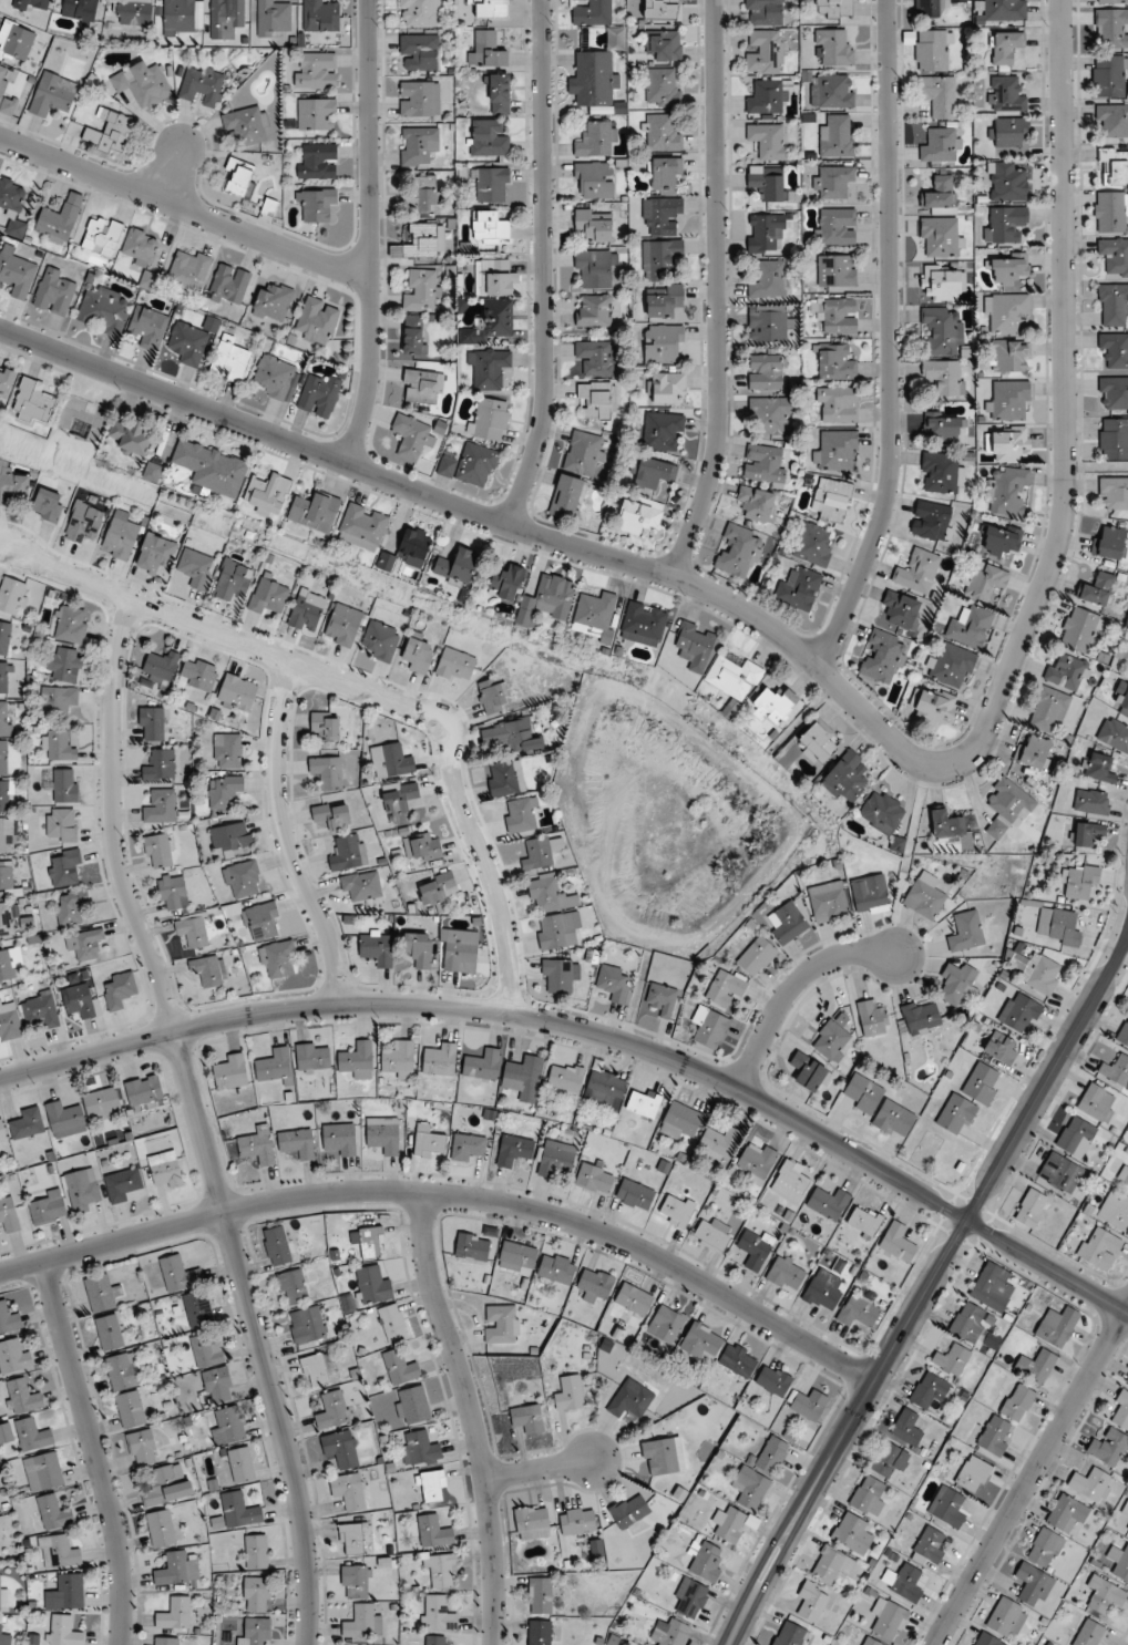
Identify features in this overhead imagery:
building: (1111, 1)
building: (33, 4)
building: (490, 8)
building: (834, 8)
building: (932, 8)
building: (80, 9)
building: (662, 9)
building: (1002, 10)
building: (134, 12)
building: (419, 12)
building: (592, 12)
building: (765, 12)
building: (227, 14)
building: (180, 16)
building: (320, 17)
building: (274, 18)
building: (1111, 28)
building: (16, 41)
building: (663, 44)
building: (833, 48)
building: (485, 49)
building: (1004, 49)
building: (933, 50)
building: (419, 51)
building: (765, 51)
building: (316, 70)
building: (1109, 75)
building: (2, 81)
building: (143, 83)
building: (596, 83)
building: (202, 85)
building: (663, 86)
building: (832, 90)
building: (500, 93)
building: (1006, 93)
building: (53, 94)
building: (939, 94)
building: (766, 96)
building: (419, 97)
building: (316, 113)
building: (1111, 121)
building: (247, 124)
building: (110, 132)
building: (1009, 132)
building: (662, 133)
building: (835, 135)
building: (489, 136)
building: (597, 138)
building: (769, 140)
building: (418, 145)
building: (942, 145)
building: (317, 161)
building: (1116, 165)
building: (665, 175)
building: (239, 176)
building: (594, 178)
building: (833, 181)
building: (1006, 182)
building: (767, 183)
building: (491, 184)
building: (941, 194)
building: (422, 195)
building: (317, 204)
building: (13, 206)
road: (184, 208)
building: (662, 216)
building: (61, 219)
building: (1004, 223)
building: (594, 224)
building: (837, 226)
building: (490, 227)
building: (765, 232)
road: (371, 233)
building: (0, 235)
building: (102, 235)
building: (941, 236)
building: (422, 241)
building: (142, 254)
building: (660, 257)
road: (546, 265)
building: (596, 267)
building: (1009, 267)
building: (188, 269)
building: (837, 270)
building: (17, 274)
building: (493, 276)
building: (771, 279)
building: (943, 282)
building: (228, 286)
building: (422, 289)
road: (719, 290)
building: (54, 291)
building: (664, 300)
building: (274, 302)
building: (1112, 304)
building: (593, 309)
building: (103, 311)
building: (1005, 311)
building: (838, 315)
building: (317, 320)
building: (769, 322)
building: (490, 323)
building: (148, 327)
building: (941, 332)
building: (414, 335)
road: (891, 339)
building: (663, 342)
building: (187, 343)
building: (1115, 350)
building: (1011, 356)
building: (596, 357)
building: (230, 360)
building: (835, 362)
building: (488, 366)
building: (766, 371)
building: (273, 376)
building: (944, 377)
building: (6, 382)
building: (423, 385)
building: (668, 388)
building: (1115, 393)
building: (319, 395)
building: (598, 399)
building: (33, 401)
building: (1008, 401)
building: (838, 403)
building: (771, 414)
building: (490, 419)
building: (943, 426)
building: (663, 431)
building: (414, 435)
building: (131, 438)
building: (1114, 439)
building: (1008, 443)
building: (837, 451)
building: (584, 453)
building: (765, 463)
building: (471, 465)
building: (212, 466)
building: (153, 471)
building: (941, 472)
building: (654, 473)
building: (12, 482)
building: (1007, 492)
building: (1114, 493)
building: (268, 494)
building: (566, 496)
building: (831, 500)
building: (757, 503)
building: (48, 505)
building: (315, 512)
building: (639, 516)
building: (933, 521)
building: (84, 522)
building: (362, 526)
building: (121, 536)
building: (1002, 538)
building: (1109, 543)
building: (813, 544)
building: (413, 547)
building: (738, 552)
building: (156, 553)
building: (458, 565)
building: (195, 568)
building: (917, 570)
building: (233, 579)
building: (984, 582)
building: (505, 583)
building: (798, 587)
building: (1098, 588)
building: (269, 594)
building: (13, 596)
building: (547, 599)
building: (900, 608)
building: (307, 610)
building: (598, 611)
building: (70, 624)
building: (644, 624)
building: (343, 625)
building: (972, 626)
building: (1080, 629)
building: (4, 636)
building: (380, 640)
building: (695, 645)
building: (417, 655)
building: (883, 657)
building: (64, 664)
building: (454, 664)
building: (162, 666)
building: (952, 666)
building: (1067, 671)
building: (198, 675)
building: (4, 677)
building: (734, 677)
road: (363, 688)
building: (237, 691)
road: (845, 691)
building: (493, 693)
building: (59, 699)
building: (773, 705)
building: (934, 706)
building: (1048, 710)
building: (4, 718)
building: (152, 723)
building: (326, 724)
building: (1115, 733)
building: (511, 736)
building: (818, 742)
building: (58, 744)
building: (227, 750)
building: (1034, 752)
building: (3, 757)
building: (391, 760)
building: (160, 765)
building: (1098, 768)
building: (326, 771)
building: (848, 775)
building: (505, 778)
building: (64, 784)
building: (224, 790)
building: (3, 795)
building: (401, 799)
building: (1091, 802)
building: (1007, 805)
building: (161, 806)
building: (882, 812)
building: (521, 814)
building: (332, 815)
building: (62, 824)
building: (947, 825)
building: (1088, 833)
building: (6, 834)
road: (287, 837)
building: (232, 839)
building: (424, 846)
building: (158, 851)
building: (348, 852)
building: (542, 852)
building: (65, 867)
building: (6, 874)
building: (243, 880)
building: (1079, 881)
building: (361, 886)
building: (439, 888)
building: (173, 891)
building: (550, 894)
building: (870, 894)
building: (925, 896)
building: (829, 901)
building: (71, 907)
building: (6, 918)
building: (263, 921)
building: (788, 923)
building: (1058, 925)
building: (193, 929)
building: (555, 931)
building: (966, 931)
building: (84, 943)
building: (377, 947)
building: (419, 949)
building: (459, 950)
building: (757, 956)
building: (278, 959)
building: (9, 964)
building: (211, 969)
building: (1039, 971)
building: (560, 975)
building: (614, 983)
building: (958, 984)
road: (793, 986)
building: (725, 988)
building: (119, 990)
building: (663, 998)
building: (79, 1000)
building: (41, 1010)
building: (1019, 1012)
building: (872, 1018)
building: (920, 1018)
building: (9, 1019)
building: (709, 1027)
road: (593, 1034)
building: (833, 1039)
building: (1002, 1048)
building: (314, 1056)
building: (441, 1059)
building: (357, 1060)
building: (399, 1060)
building: (483, 1065)
building: (276, 1066)
building: (525, 1070)
building: (1117, 1070)
building: (232, 1071)
building: (810, 1072)
building: (565, 1078)
building: (982, 1083)
building: (606, 1088)
building: (144, 1090)
building: (863, 1093)
building: (644, 1102)
building: (102, 1103)
building: (1097, 1103)
building: (956, 1113)
building: (892, 1118)
building: (65, 1119)
building: (680, 1120)
road: (201, 1122)
building: (28, 1123)
building: (2, 1130)
building: (383, 1134)
building: (1076, 1137)
building: (339, 1139)
building: (428, 1141)
building: (297, 1143)
building: (719, 1143)
building: (257, 1147)
building: (468, 1147)
building: (514, 1151)
building: (556, 1158)
building: (757, 1161)
building: (166, 1169)
building: (1060, 1172)
building: (595, 1179)
building: (791, 1181)
building: (123, 1184)
building: (1127, 1186)
building: (83, 1189)
road: (454, 1194)
building: (635, 1194)
building: (829, 1203)
building: (48, 1207)
building: (1030, 1207)
building: (676, 1210)
building: (1115, 1210)
building: (9, 1214)
building: (864, 1220)
building: (714, 1234)
building: (371, 1242)
building: (898, 1243)
building: (277, 1245)
building: (472, 1246)
building: (1099, 1247)
building: (756, 1248)
building: (517, 1256)
building: (557, 1268)
building: (175, 1272)
building: (787, 1273)
building: (596, 1282)
building: (372, 1285)
building: (293, 1286)
building: (992, 1287)
building: (823, 1291)
road: (927, 1291)
building: (103, 1295)
building: (634, 1299)
building: (197, 1308)
building: (859, 1310)
building: (9, 1319)
building: (968, 1322)
building: (392, 1323)
building: (668, 1323)
building: (501, 1324)
building: (308, 1326)
building: (1057, 1326)
building: (110, 1333)
building: (701, 1341)
building: (206, 1351)
building: (13, 1357)
building: (738, 1359)
building: (951, 1359)
building: (1037, 1364)
building: (399, 1367)
building: (315, 1369)
building: (124, 1370)
building: (773, 1379)
building: (218, 1385)
building: (929, 1390)
building: (570, 1394)
building: (22, 1397)
building: (630, 1399)
building: (1018, 1402)
building: (412, 1405)
building: (811, 1405)
building: (130, 1408)
building: (332, 1409)
road: (472, 1416)
building: (529, 1418)
building: (1127, 1418)
building: (230, 1425)
building: (907, 1428)
building: (6, 1432)
building: (32, 1433)
building: (995, 1436)
building: (143, 1447)
building: (1109, 1447)
building: (341, 1448)
building: (419, 1448)
road: (95, 1451)
building: (772, 1454)
building: (663, 1456)
building: (890, 1459)
building: (242, 1463)
road: (540, 1469)
building: (43, 1471)
building: (973, 1474)
road: (1032, 1480)
building: (1090, 1482)
building: (433, 1485)
building: (165, 1487)
building: (750, 1488)
building: (349, 1490)
building: (870, 1498)
building: (947, 1505)
building: (239, 1510)
building: (629, 1510)
building: (53, 1512)
building: (1067, 1514)
building: (577, 1521)
building: (532, 1522)
building: (730, 1523)
building: (161, 1528)
building: (1127, 1529)
building: (434, 1531)
building: (853, 1533)
building: (351, 1539)
building: (930, 1546)
building: (1045, 1548)
building: (256, 1551)
building: (59, 1552)
building: (707, 1562)
building: (832, 1565)
building: (441, 1567)
building: (176, 1569)
building: (355, 1581)
building: (903, 1581)
building: (1033, 1584)
building: (0, 1591)
building: (65, 1592)
building: (256, 1594)
building: (541, 1594)
building: (1105, 1595)
building: (690, 1597)
building: (812, 1601)
building: (174, 1613)
building: (438, 1613)
building: (1007, 1617)
building: (363, 1622)
building: (891, 1622)
building: (63, 1631)
building: (257, 1631)
building: (540, 1632)
building: (671, 1633)
building: (1089, 1633)
building: (790, 1634)
building: (3, 1637)
building: (988, 1639)
building: (166, 1641)
building: (435, 1641)
building: (872, 1642)

